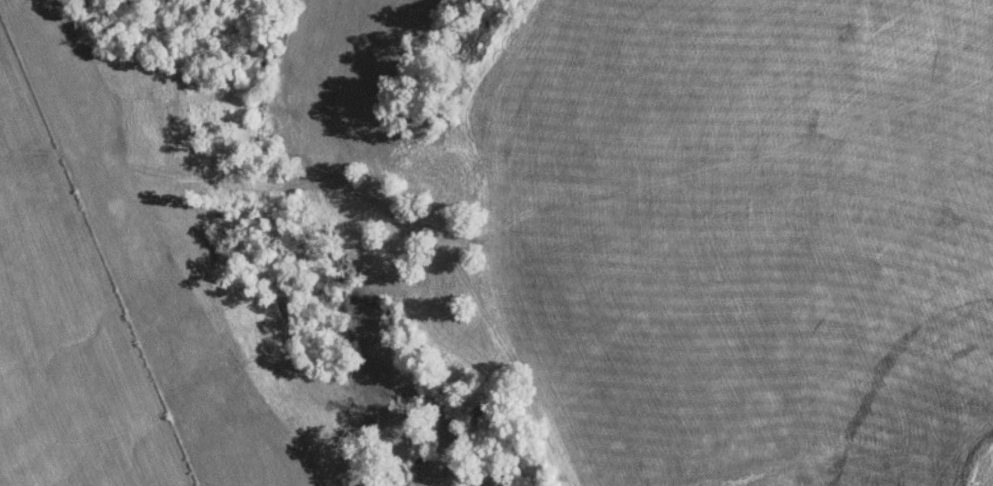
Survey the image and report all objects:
crop: (745, 109)

